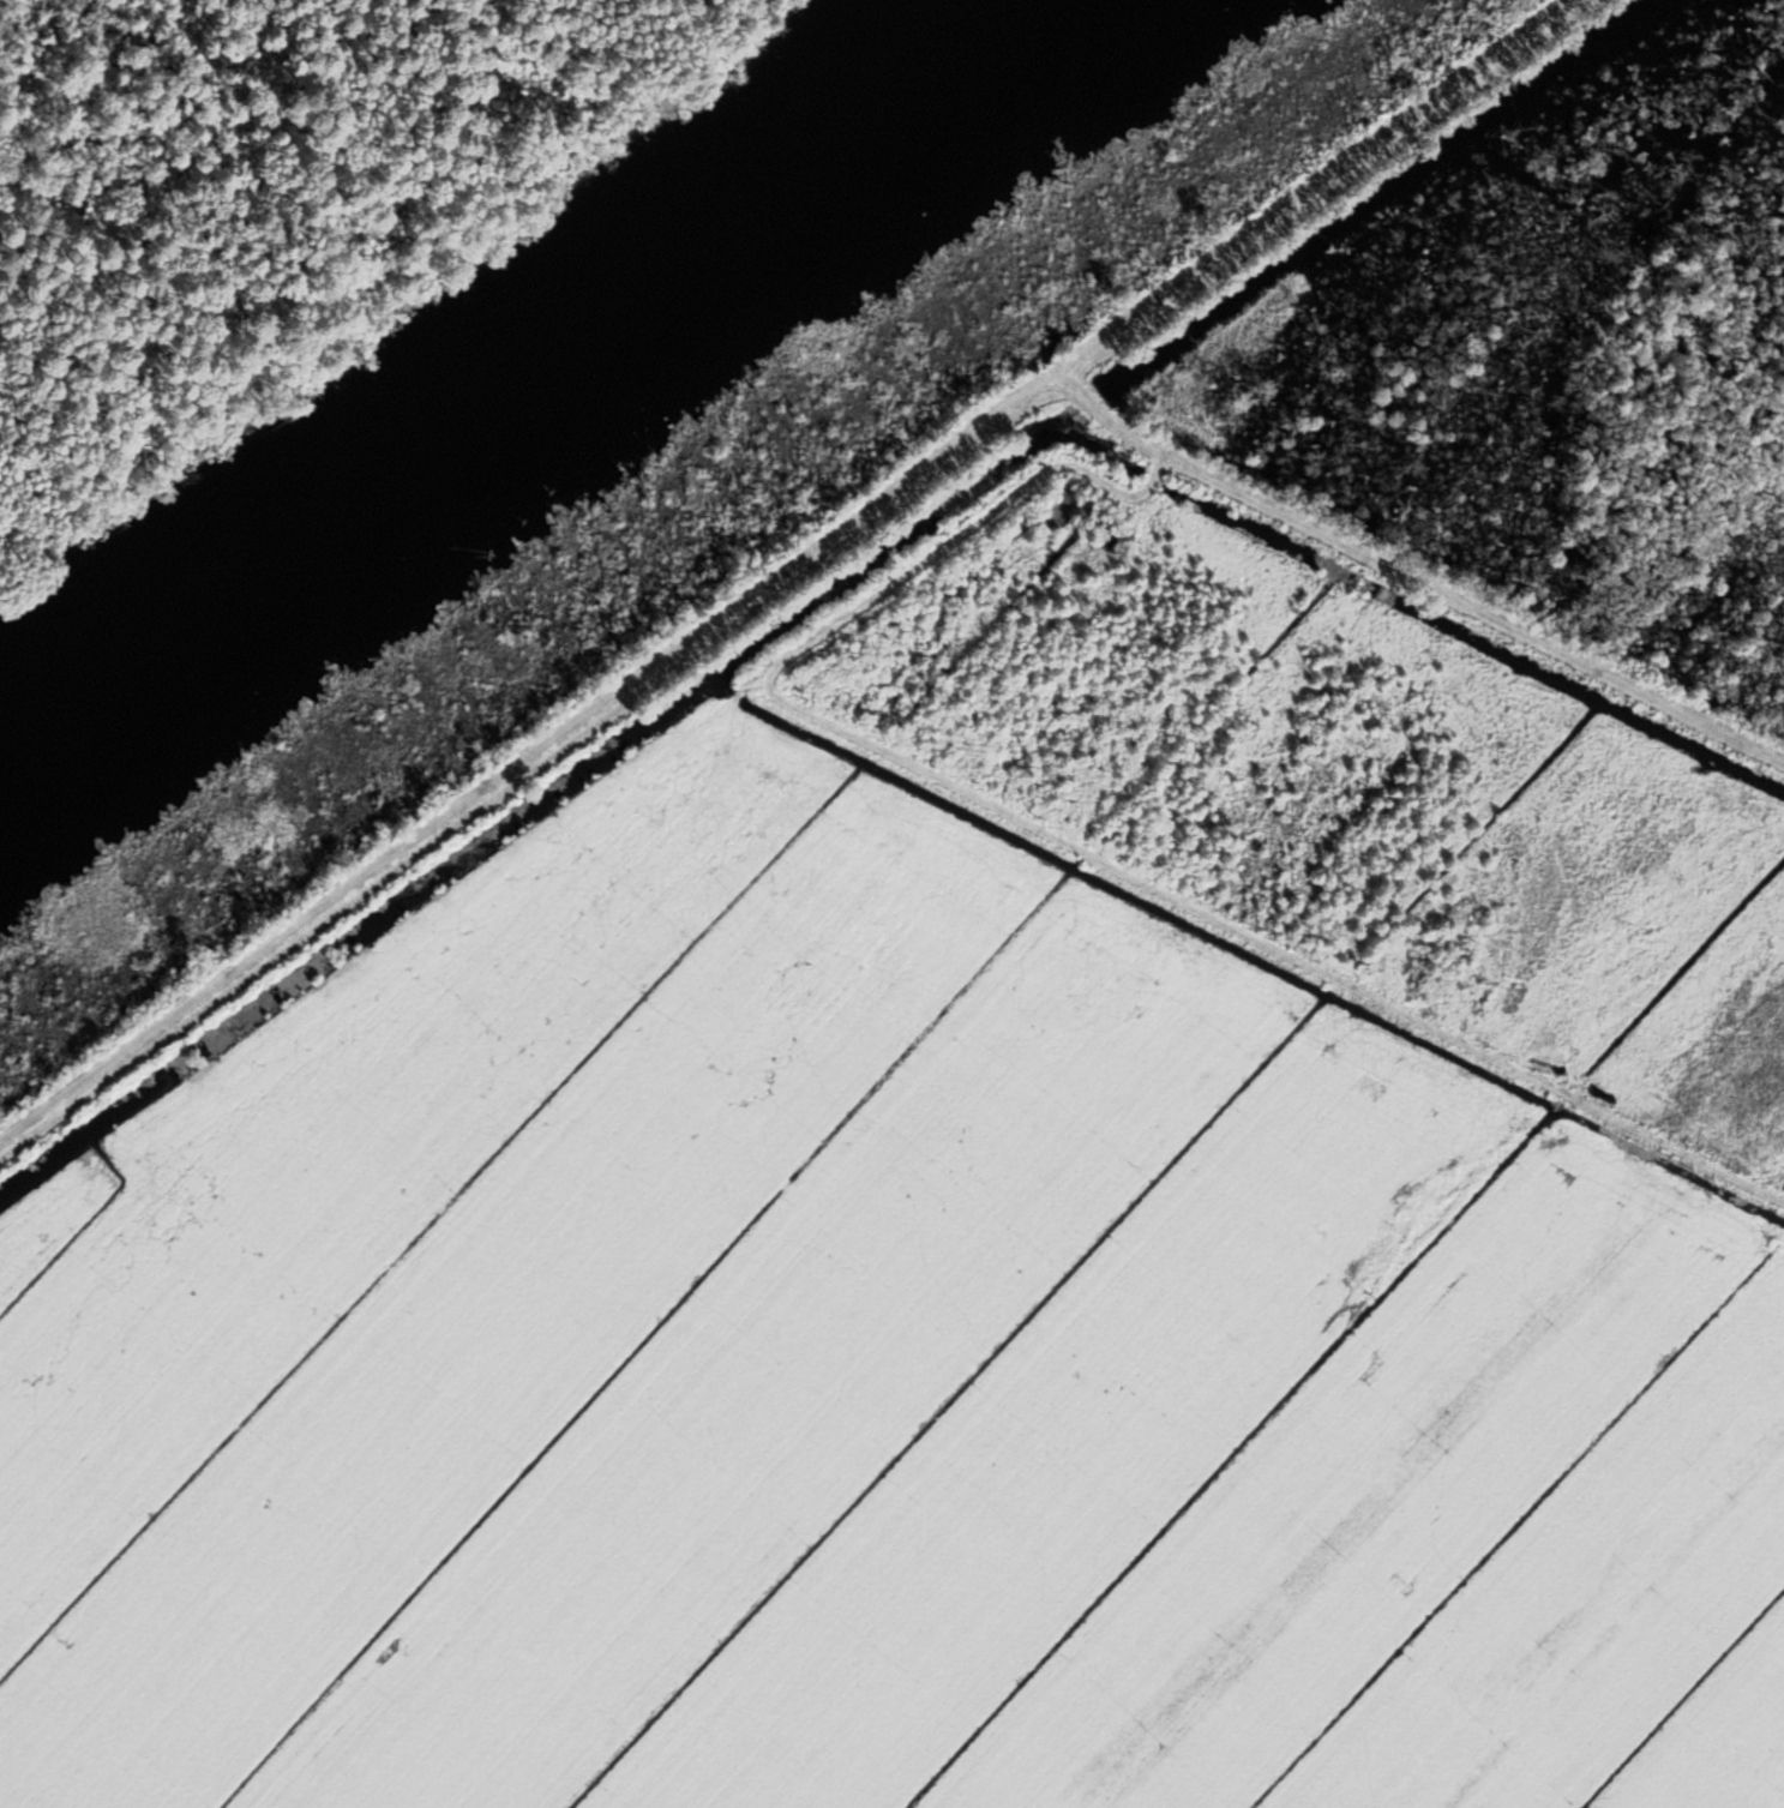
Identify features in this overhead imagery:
road: (1296, 184)
road: (1411, 576)
road: (522, 752)
crop: (870, 1369)

